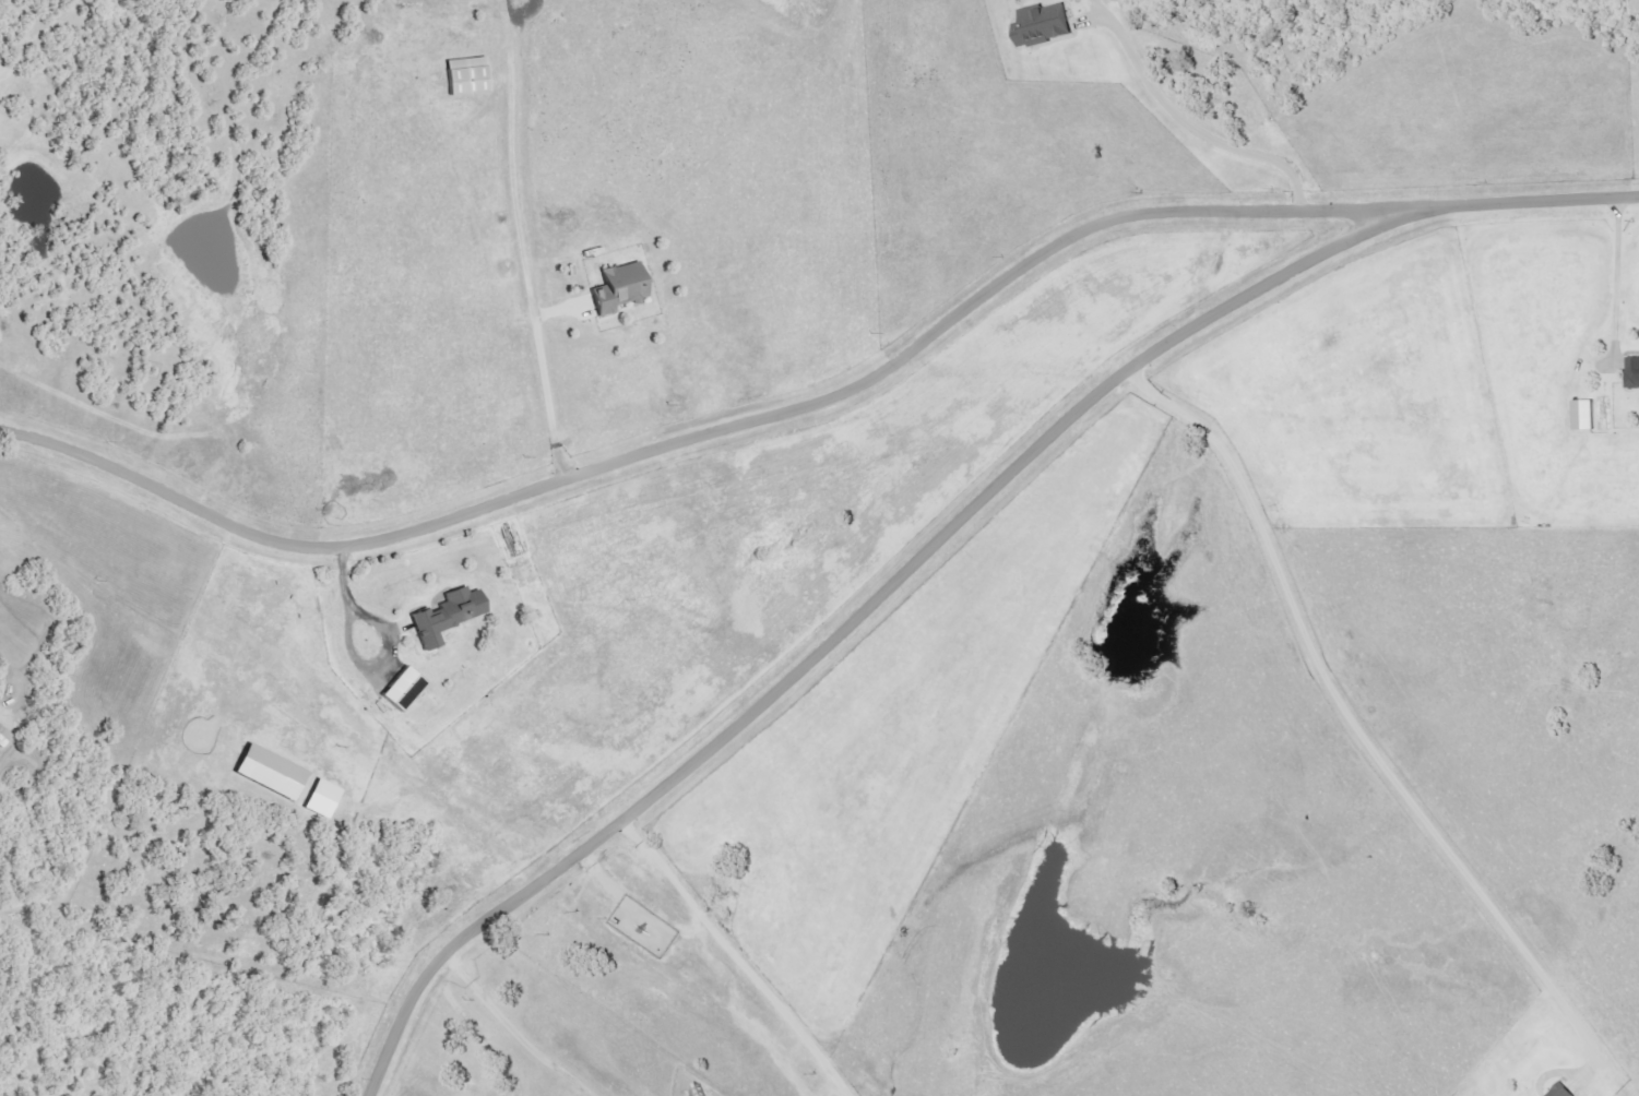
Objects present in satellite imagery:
building: (1047, 25)
building: (470, 75)
building: (621, 287)
building: (1634, 373)
road: (823, 398)
building: (1587, 415)
road: (863, 607)
building: (449, 616)
building: (405, 689)
building: (4, 737)
building: (273, 772)
building: (324, 799)
building: (1564, 1091)

